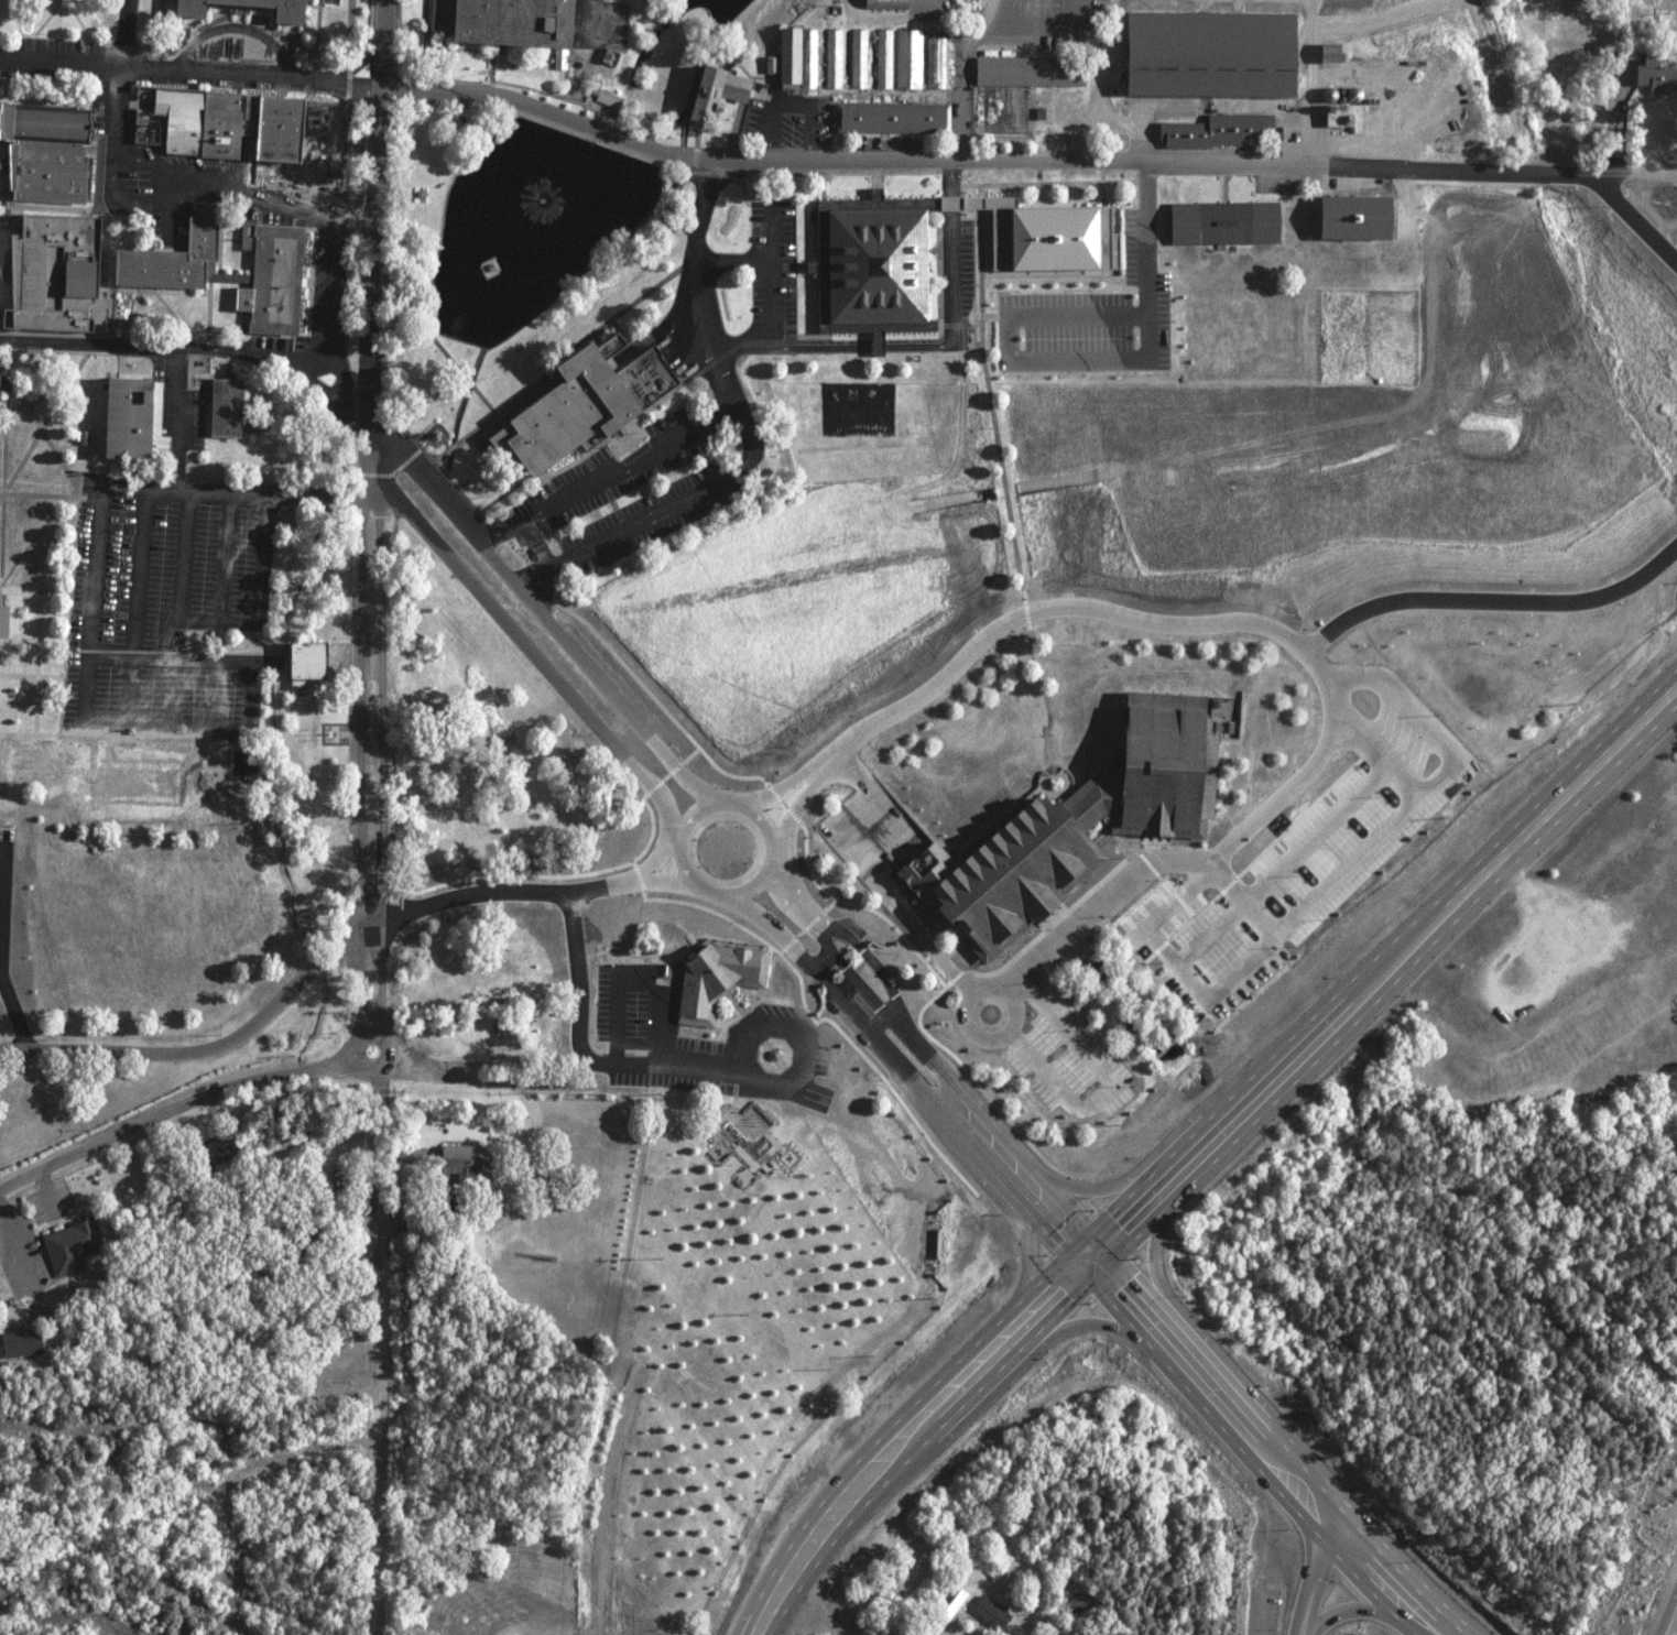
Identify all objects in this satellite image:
building: (881, 3)
building: (283, 10)
road: (736, 14)
road: (239, 21)
building: (496, 22)
dam: (705, 50)
building: (830, 51)
building: (856, 51)
building: (1325, 51)
building: (804, 52)
building: (881, 52)
building: (906, 52)
building: (1205, 53)
building: (936, 59)
building: (1026, 70)
road: (189, 73)
building: (1654, 76)
building: (721, 88)
building: (606, 98)
building: (889, 117)
building: (231, 118)
building: (1212, 130)
building: (40, 151)
road: (891, 162)
road: (839, 165)
road: (950, 172)
road: (883, 173)
road: (1066, 174)
road: (742, 177)
parking lot: (1276, 177)
road: (999, 187)
fountain: (540, 188)
building: (1349, 216)
building: (1228, 217)
road: (373, 222)
building: (1049, 230)
road: (760, 250)
road: (384, 252)
road: (722, 253)
building: (164, 255)
parking lot: (770, 258)
road: (801, 259)
building: (879, 261)
road: (937, 263)
parking lot: (970, 264)
road: (772, 268)
building: (45, 271)
building: (275, 275)
parking lot: (329, 280)
road: (704, 286)
parking lot: (1099, 287)
road: (1044, 288)
road: (424, 317)
road: (968, 317)
road: (981, 318)
road: (919, 335)
road: (204, 348)
road: (309, 353)
road: (6, 368)
road: (10, 371)
road: (470, 375)
building: (4, 383)
road: (484, 394)
road: (509, 401)
building: (595, 402)
building: (226, 406)
building: (139, 415)
road: (44, 417)
road: (46, 426)
road: (433, 426)
building: (84, 428)
road: (451, 438)
road: (439, 446)
road: (558, 461)
road: (4, 466)
road: (377, 468)
road: (605, 475)
road: (1004, 480)
parking lot: (640, 481)
road: (42, 486)
road: (239, 490)
road: (389, 493)
road: (80, 497)
road: (673, 499)
road: (35, 532)
road: (184, 551)
road: (226, 552)
road: (264, 553)
road: (36, 581)
road: (546, 589)
parking lot: (167, 598)
road: (92, 603)
road: (137, 604)
building: (6, 612)
road: (219, 612)
road: (1027, 621)
road: (165, 622)
road: (172, 645)
road: (279, 648)
road: (319, 650)
road: (359, 650)
road: (37, 654)
building: (318, 655)
building: (298, 660)
road: (33, 668)
road: (176, 684)
road: (215, 684)
road: (253, 685)
road: (595, 689)
road: (65, 694)
road: (165, 721)
road: (30, 726)
road: (359, 738)
road: (653, 739)
road: (92, 741)
building: (34, 756)
road: (632, 760)
road: (381, 763)
building: (139, 776)
road: (7, 815)
building: (1082, 822)
parking lot: (6, 885)
road: (2, 896)
road: (1255, 904)
road: (825, 908)
road: (371, 923)
parking lot: (1200, 931)
road: (938, 946)
road: (371, 947)
road: (0, 957)
road: (0, 963)
road: (1383, 967)
road: (1037, 969)
building: (720, 972)
road: (663, 974)
road: (732, 990)
road: (17, 1010)
road: (753, 1020)
parking lot: (715, 1036)
road: (774, 1047)
road: (199, 1049)
road: (390, 1049)
parking lot: (1063, 1060)
road: (513, 1066)
road: (750, 1072)
road: (512, 1081)
road: (1100, 1091)
road: (173, 1107)
road: (1001, 1152)
building: (465, 1164)
building: (68, 1246)
road: (379, 1247)
traffic signals: (1090, 1250)
building: (18, 1343)
road: (907, 1430)
road: (1265, 1446)
road: (374, 1532)
road: (1319, 1578)
road: (1362, 1607)
building: (989, 1613)
road: (1673, 1627)

